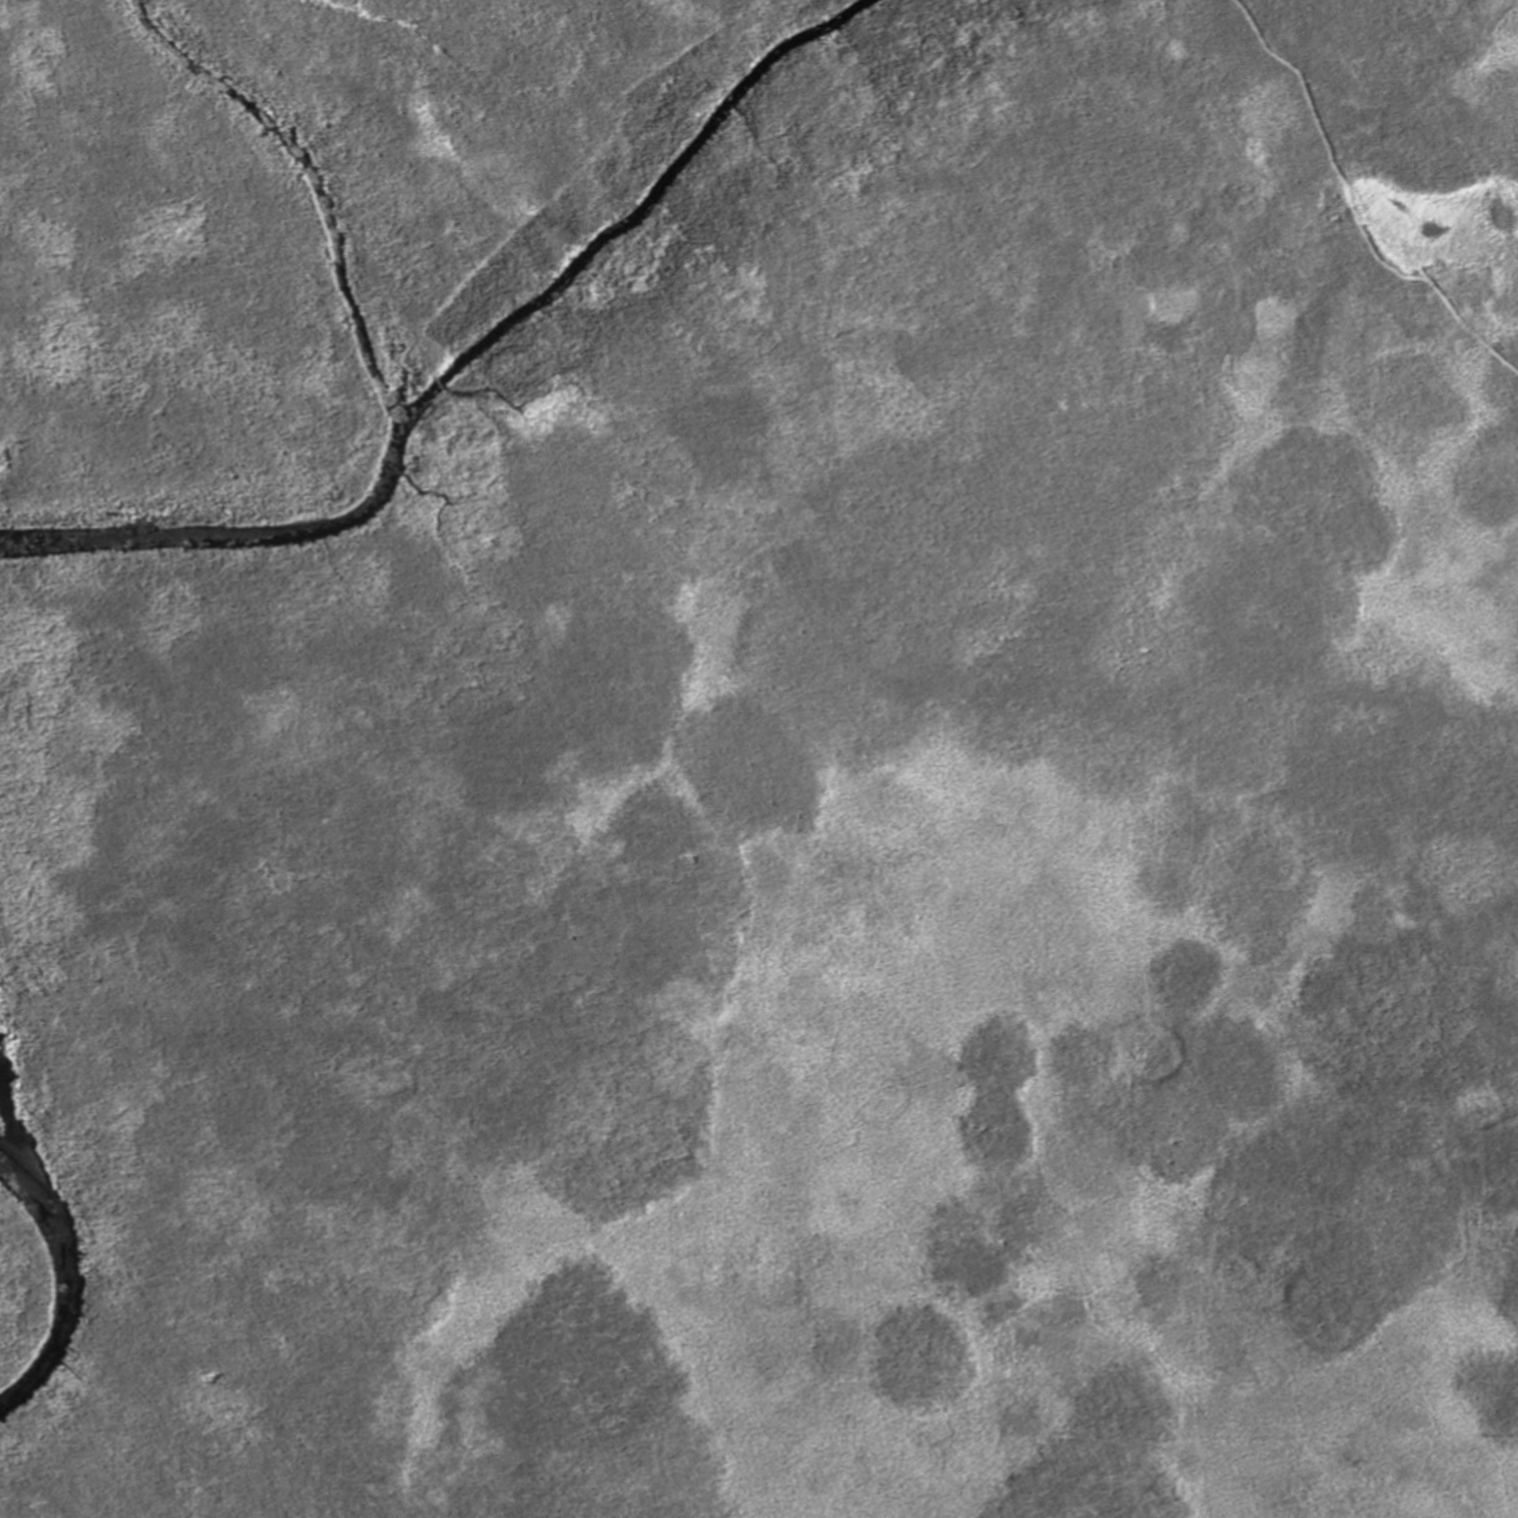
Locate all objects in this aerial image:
river: (459, 358)
river: (59, 1284)

